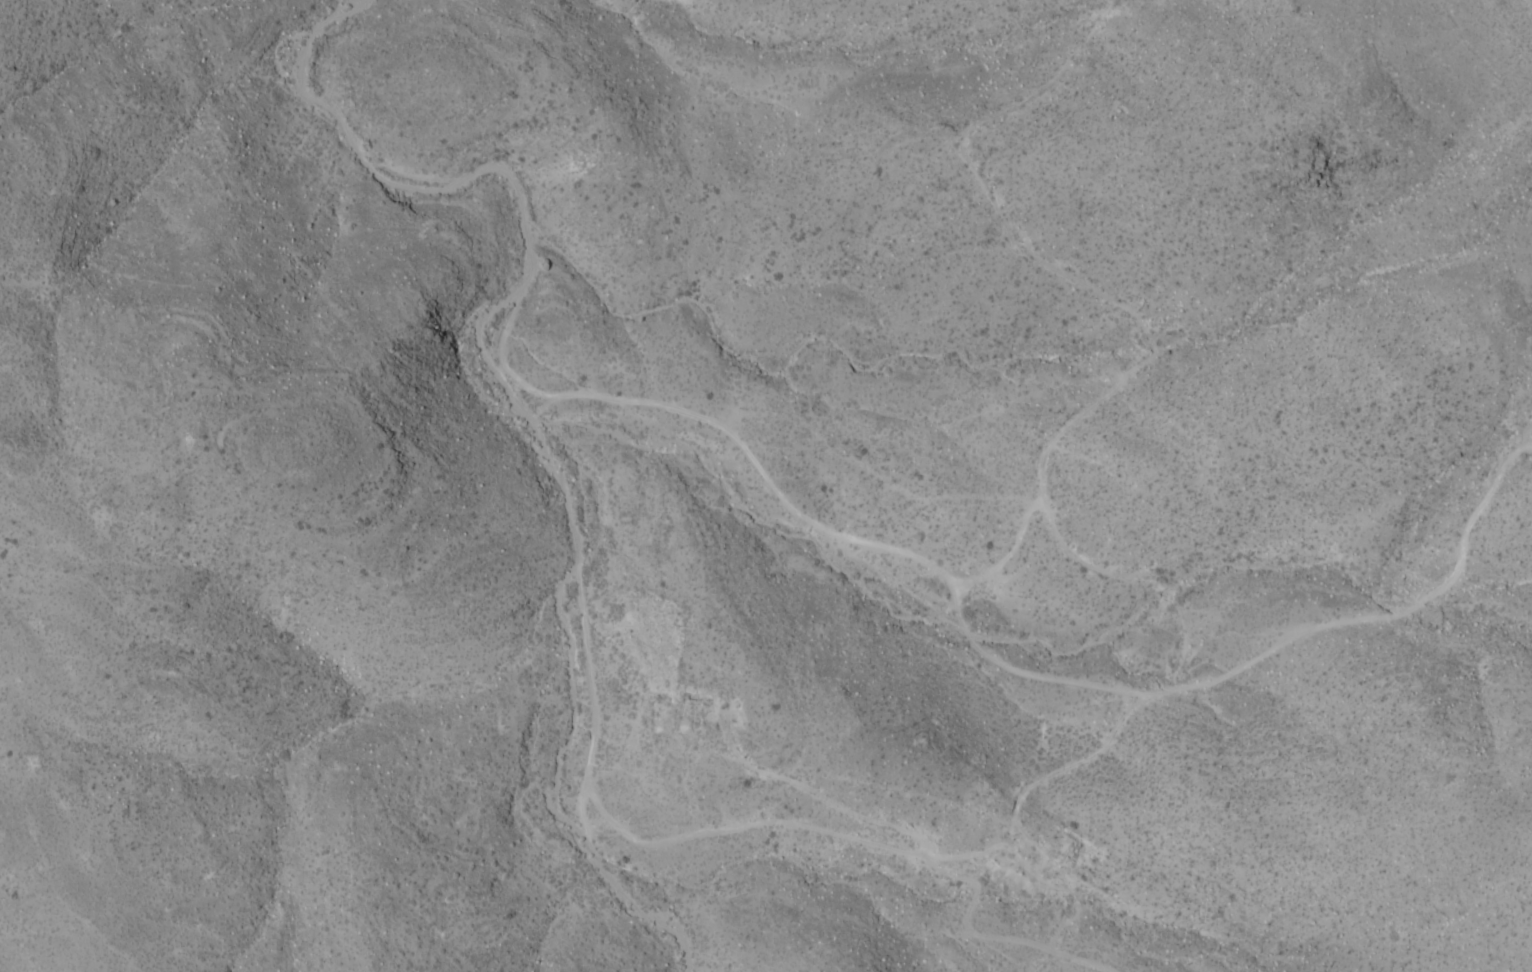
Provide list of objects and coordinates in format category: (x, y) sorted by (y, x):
road: (523, 408)

